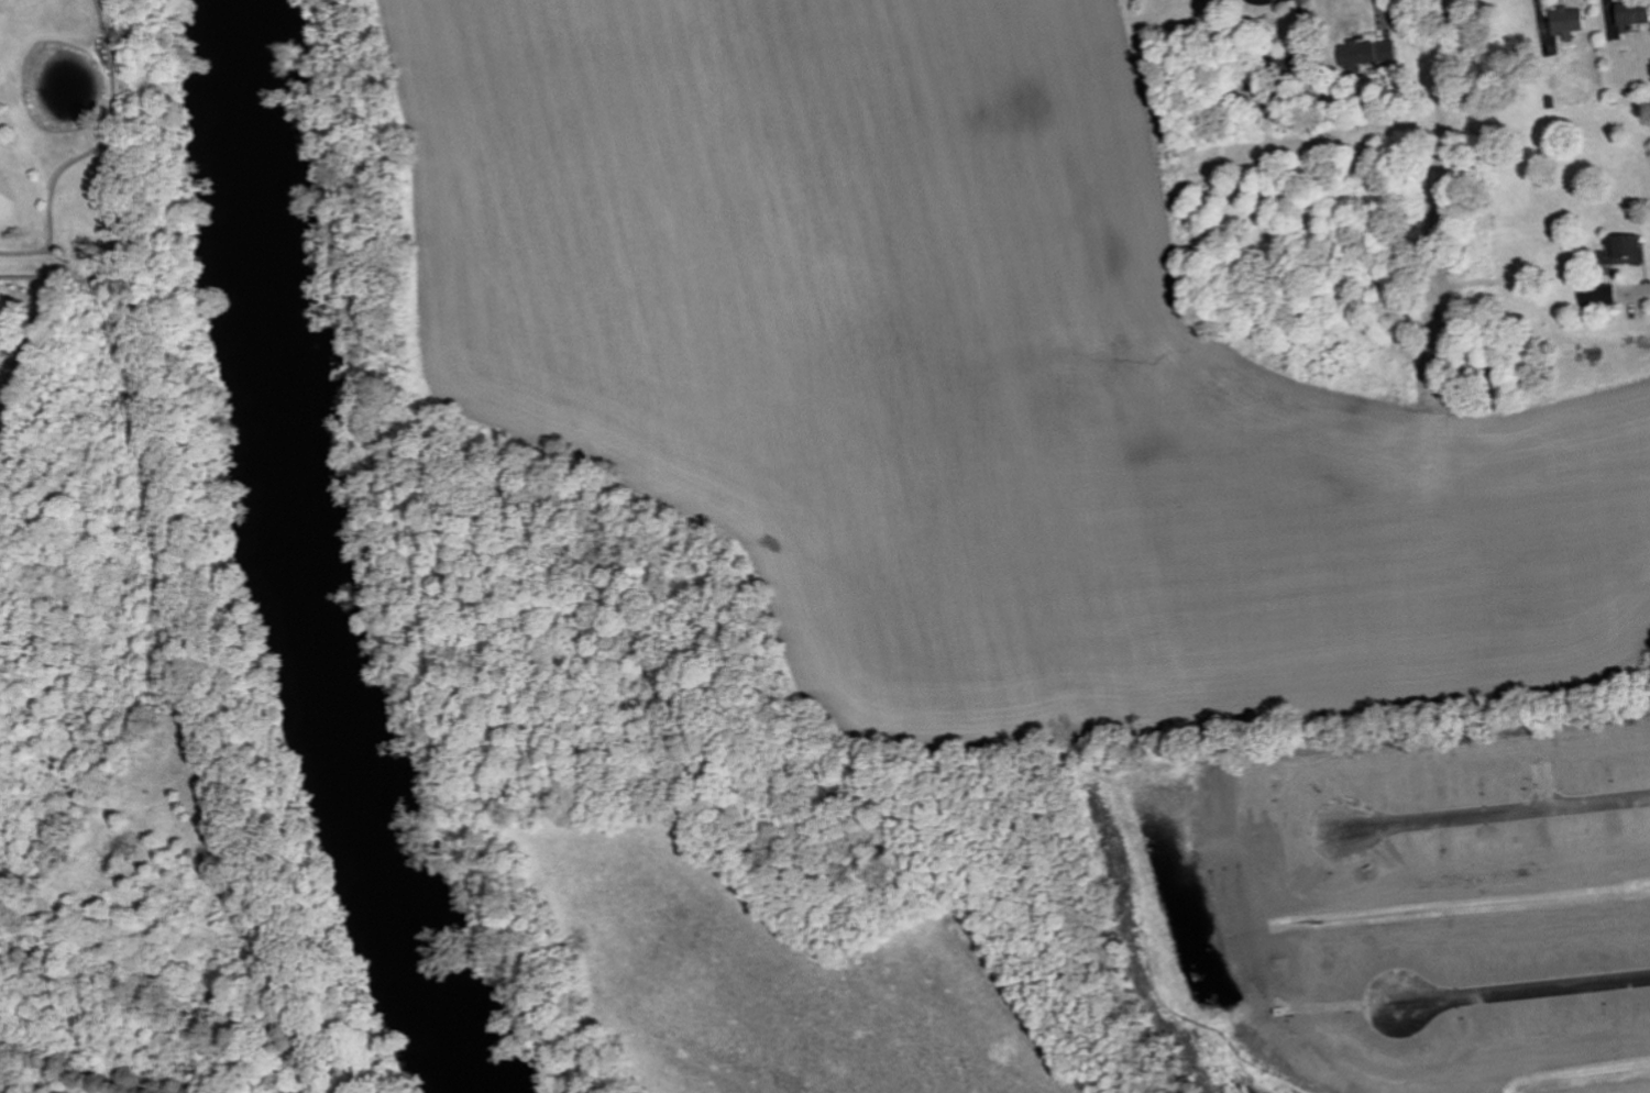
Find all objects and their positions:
building: (1635, 11)
building: (1570, 19)
building: (1369, 52)
park: (76, 140)
building: (1599, 295)
river: (279, 560)
road: (1502, 810)
road: (1526, 989)
road: (71, 1073)
building: (298, 1092)

